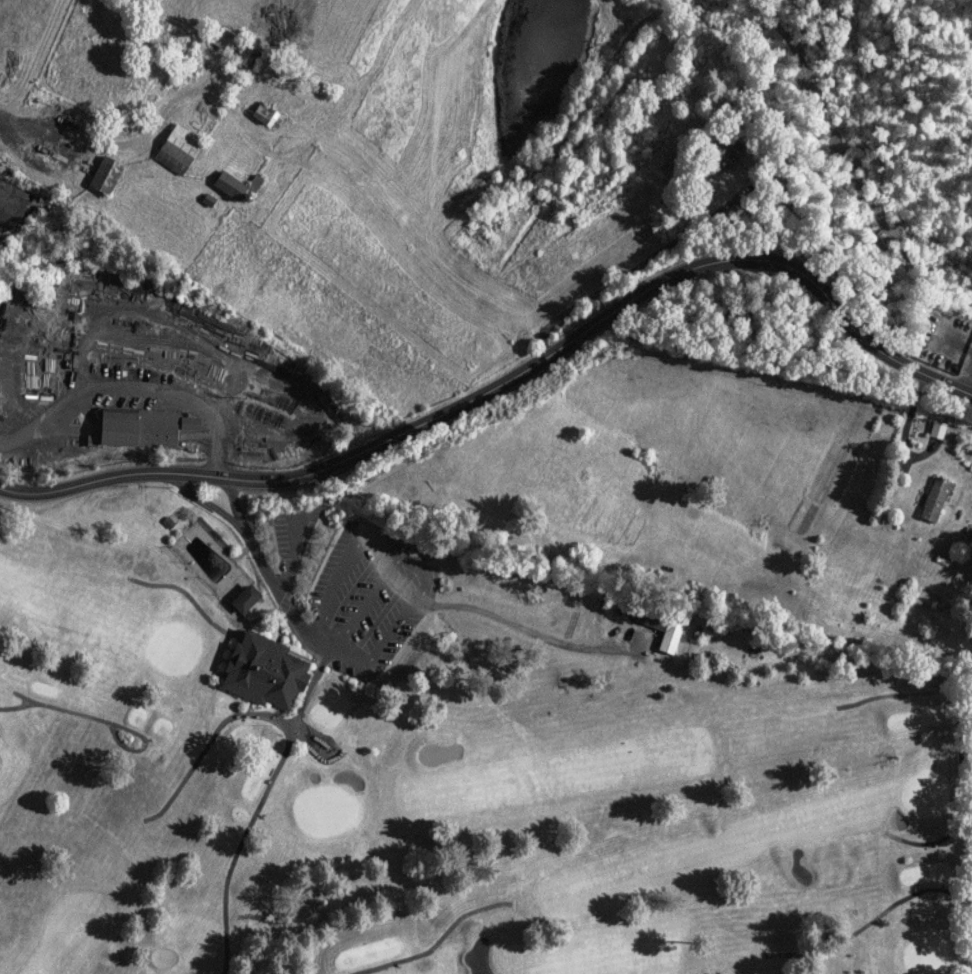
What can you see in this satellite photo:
building: (233, 47)
building: (263, 115)
building: (721, 147)
building: (177, 149)
building: (103, 176)
building: (234, 186)
road: (510, 368)
building: (141, 428)
building: (937, 430)
building: (933, 500)
building: (245, 599)
parking lot: (351, 614)
building: (658, 624)
building: (263, 672)
park: (444, 759)

